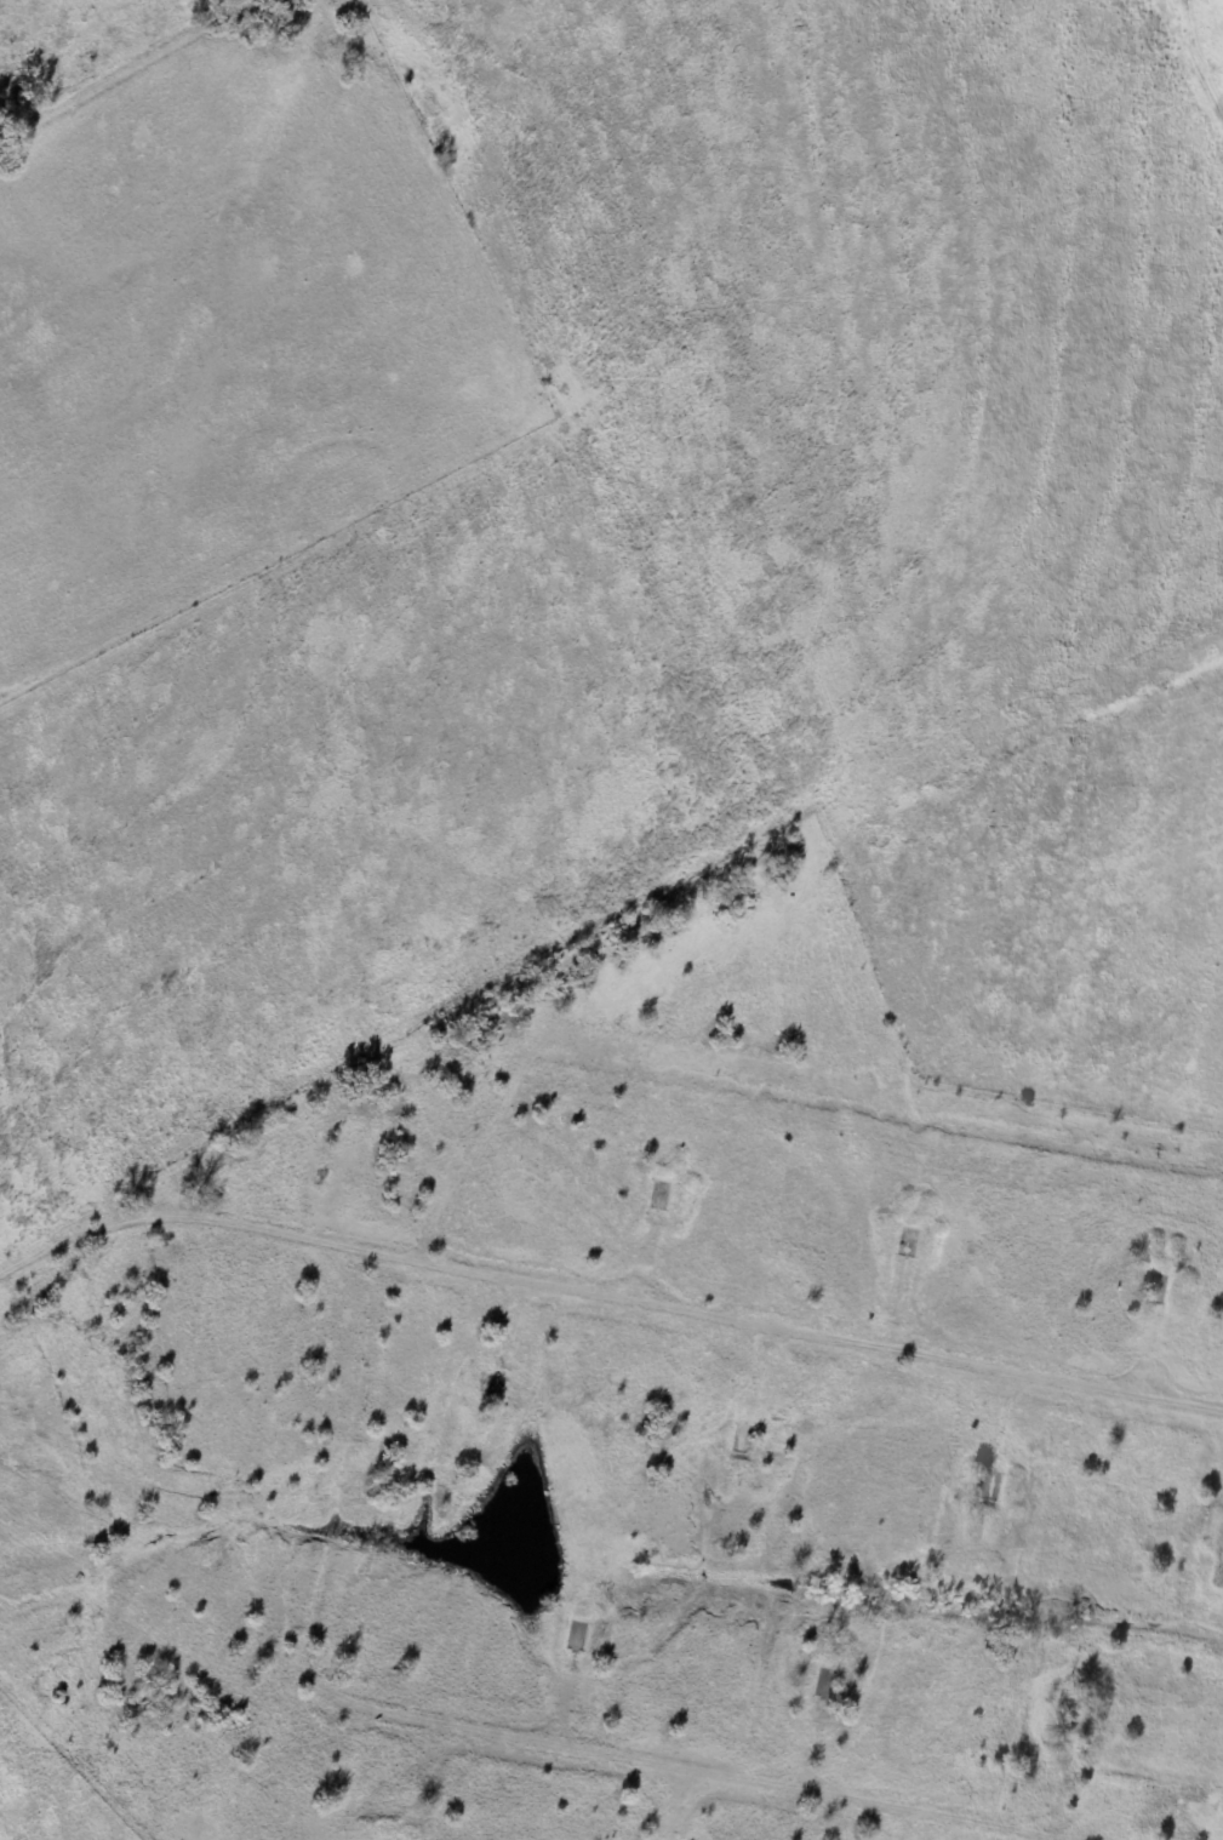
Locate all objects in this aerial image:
building: (575, 1635)

